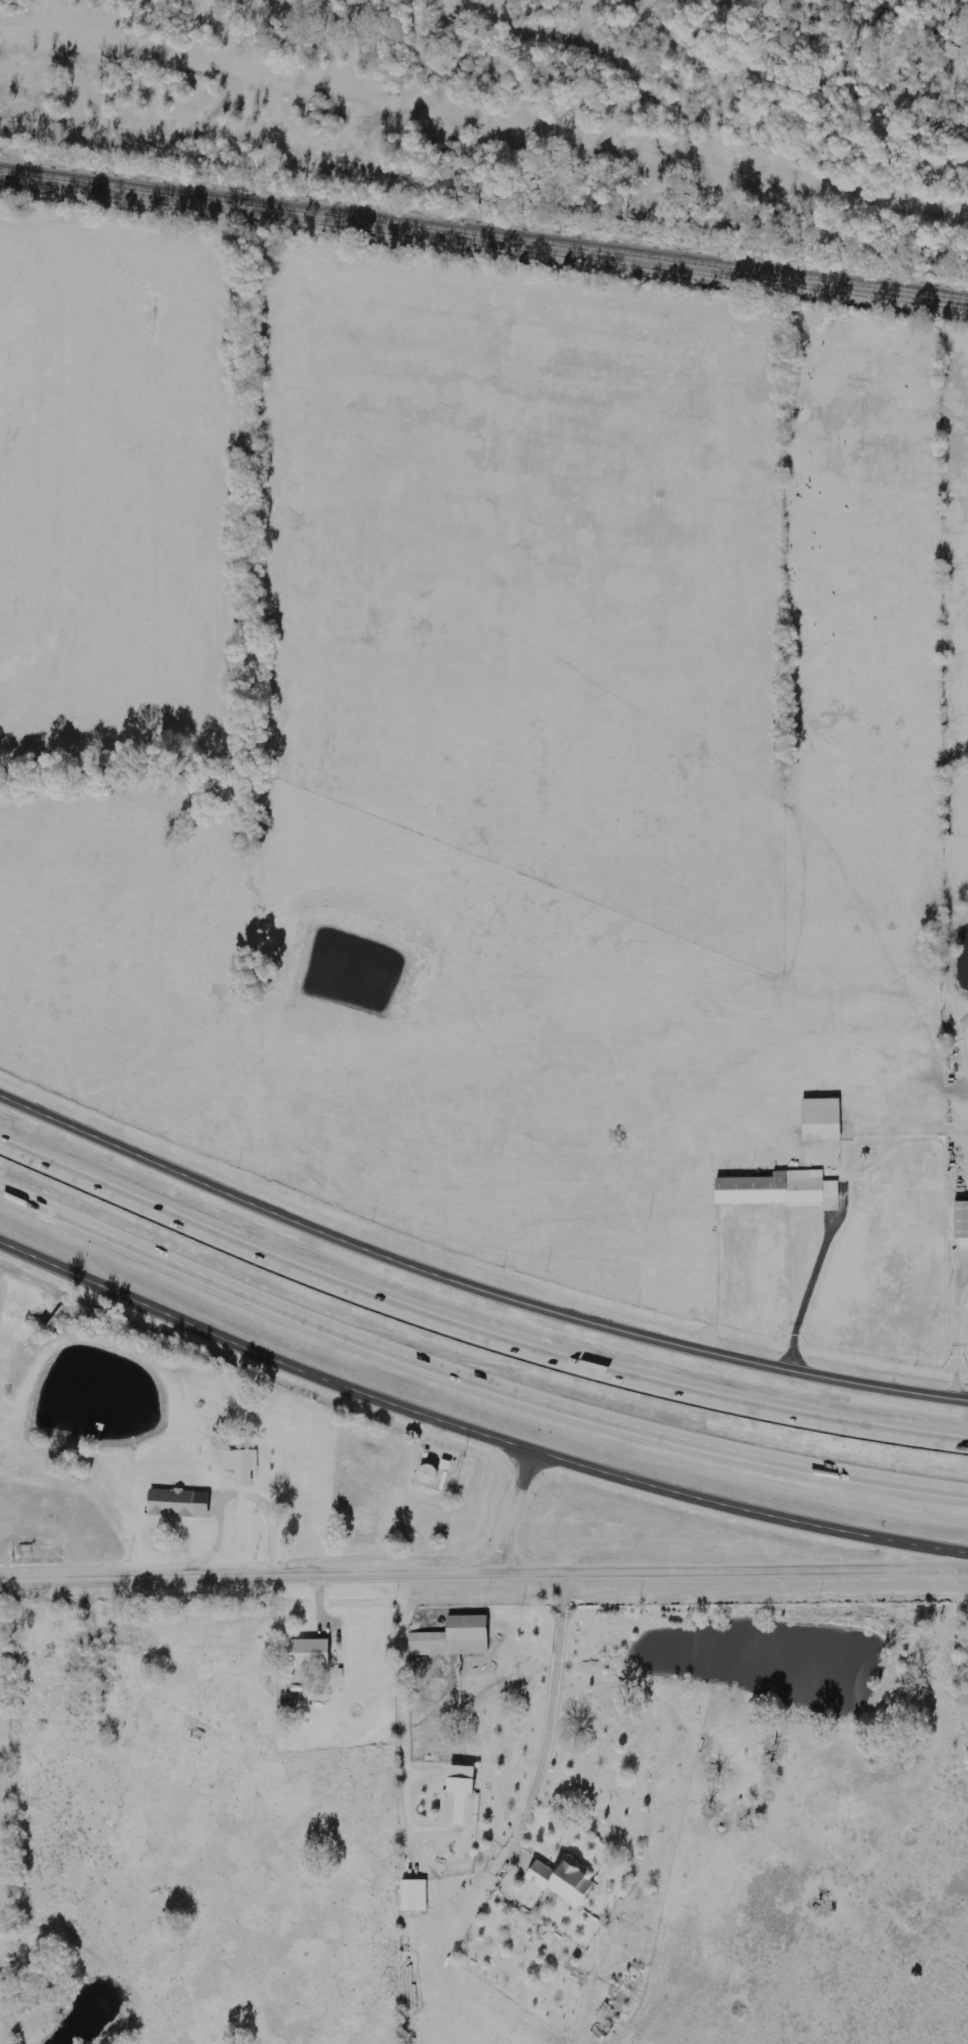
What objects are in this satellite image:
railway: (483, 237)
railway: (484, 247)
building: (818, 1120)
building: (775, 1190)
building: (959, 1220)
road: (472, 1285)
road: (813, 1290)
road: (471, 1322)
road: (963, 1331)
road: (470, 1375)
road: (472, 1433)
building: (240, 1465)
building: (175, 1504)
road: (514, 1514)
road: (484, 1575)
building: (451, 1638)
building: (306, 1655)
building: (457, 1799)
building: (561, 1882)
building: (411, 1897)

